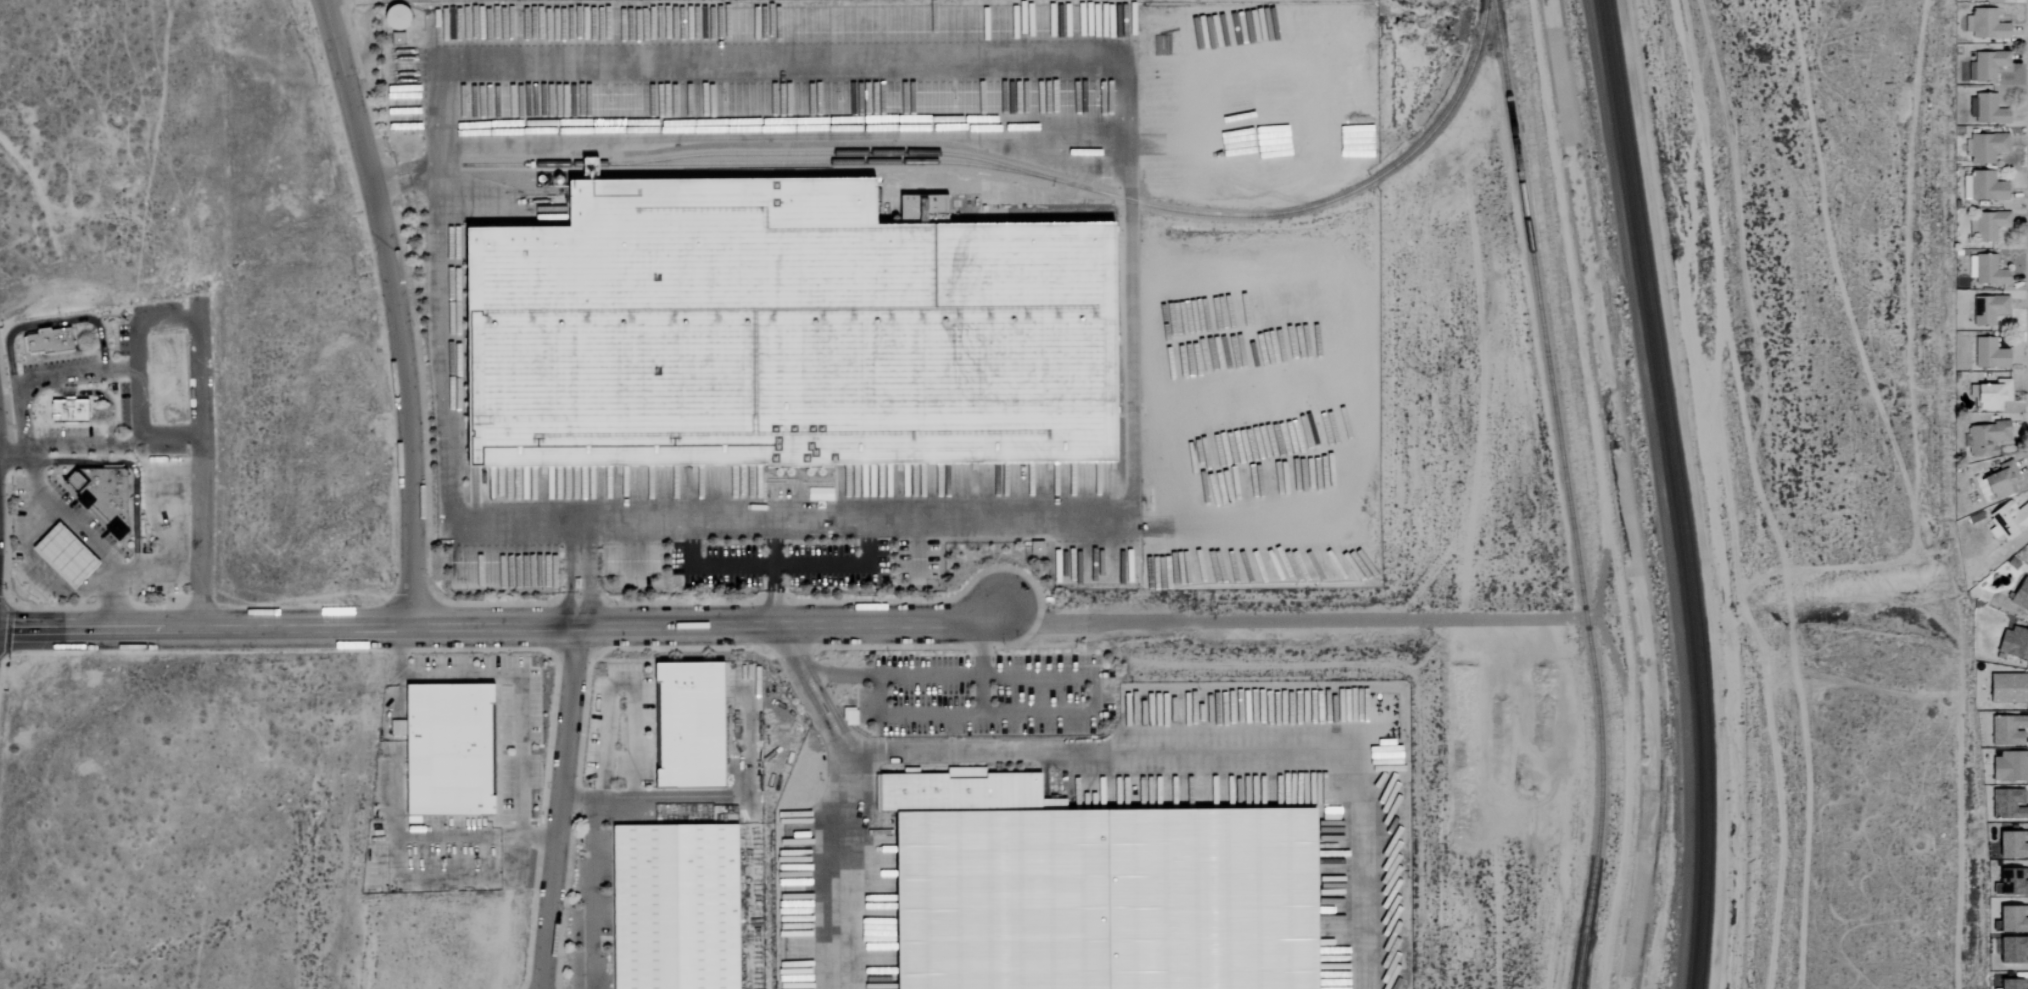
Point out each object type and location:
building: (388, 17)
building: (1986, 25)
building: (1987, 65)
street lamp: (354, 75)
building: (1988, 110)
road: (1127, 115)
building: (1985, 147)
railway: (831, 153)
railway: (1032, 173)
building: (1981, 187)
building: (1988, 225)
building: (1985, 270)
road: (390, 308)
building: (1991, 309)
street lamp: (410, 328)
building: (781, 332)
building: (47, 342)
building: (1988, 354)
road: (132, 371)
road: (52, 384)
road: (69, 391)
building: (1988, 392)
road: (108, 407)
building: (68, 411)
road: (197, 421)
road: (444, 426)
road: (168, 433)
building: (1984, 438)
road: (182, 474)
road: (134, 475)
building: (1999, 481)
railway: (1670, 492)
railway: (1680, 492)
railway: (1566, 493)
road: (1761, 493)
building: (100, 496)
building: (2008, 519)
road: (168, 520)
road: (75, 526)
road: (690, 537)
parking lot: (98, 538)
building: (1035, 549)
building: (63, 556)
gas station: (63, 556)
road: (162, 566)
road: (842, 568)
street lamp: (427, 575)
building: (2019, 595)
road: (773, 602)
street lamp: (614, 606)
road: (773, 613)
road: (1288, 619)
road: (588, 624)
road: (98, 628)
building: (2012, 644)
street lamp: (1005, 645)
street lamp: (747, 648)
street lamp: (453, 650)
street lamp: (508, 655)
street lamp: (433, 656)
street lamp: (471, 656)
road: (980, 668)
road: (1090, 673)
street lamp: (604, 675)
street lamp: (642, 675)
road: (617, 680)
road: (807, 683)
road: (519, 689)
building: (2007, 689)
street lamp: (541, 691)
parking lot: (985, 693)
street lamp: (624, 695)
building: (847, 717)
building: (693, 725)
street lamp: (540, 729)
building: (2011, 730)
street lamp: (598, 736)
building: (451, 751)
street lamp: (626, 751)
street lamp: (541, 766)
building: (2009, 767)
street lamp: (593, 788)
street lamp: (625, 788)
building: (962, 791)
building: (2007, 805)
road: (558, 807)
street lamp: (530, 816)
road: (843, 864)
building: (1999, 882)
building: (2015, 883)
road: (594, 896)
building: (1107, 899)
building: (675, 907)
building: (2023, 908)
building: (2009, 921)
building: (2011, 951)
railway: (1579, 962)
building: (2011, 984)

